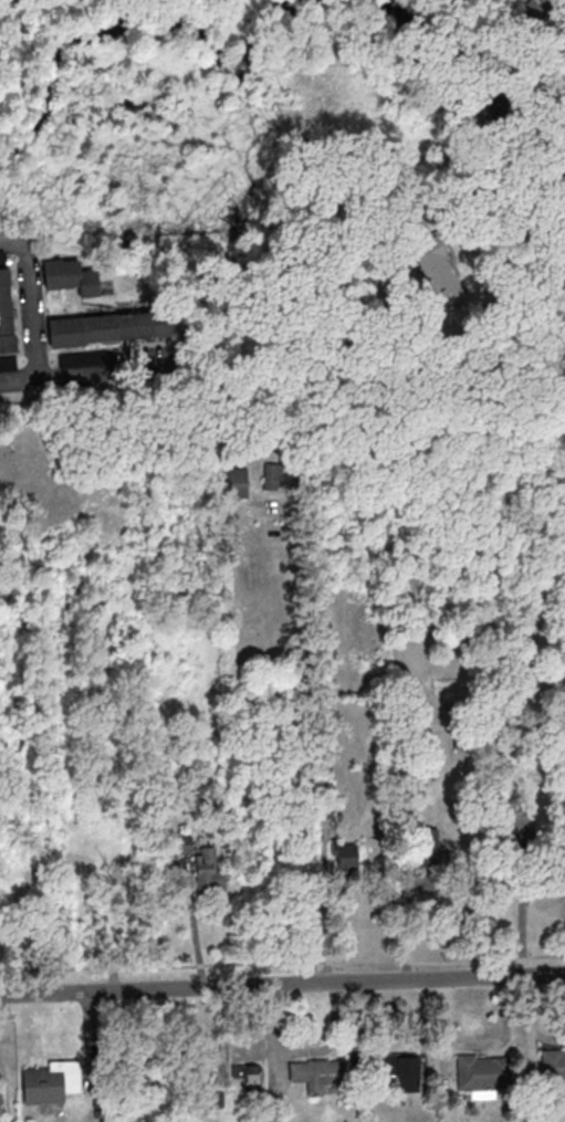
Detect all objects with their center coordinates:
building: (460, 33)
road: (558, 41)
river: (206, 44)
road: (477, 154)
road: (36, 253)
building: (2, 259)
building: (71, 275)
building: (6, 313)
road: (32, 313)
building: (111, 327)
building: (9, 364)
road: (55, 371)
building: (274, 475)
building: (236, 482)
road: (303, 743)
building: (184, 843)
building: (426, 848)
building: (346, 858)
building: (209, 870)
building: (508, 875)
road: (501, 889)
road: (282, 983)
building: (553, 1065)
building: (398, 1067)
building: (143, 1068)
building: (316, 1073)
building: (484, 1073)
building: (252, 1079)
building: (51, 1081)
building: (217, 1097)

